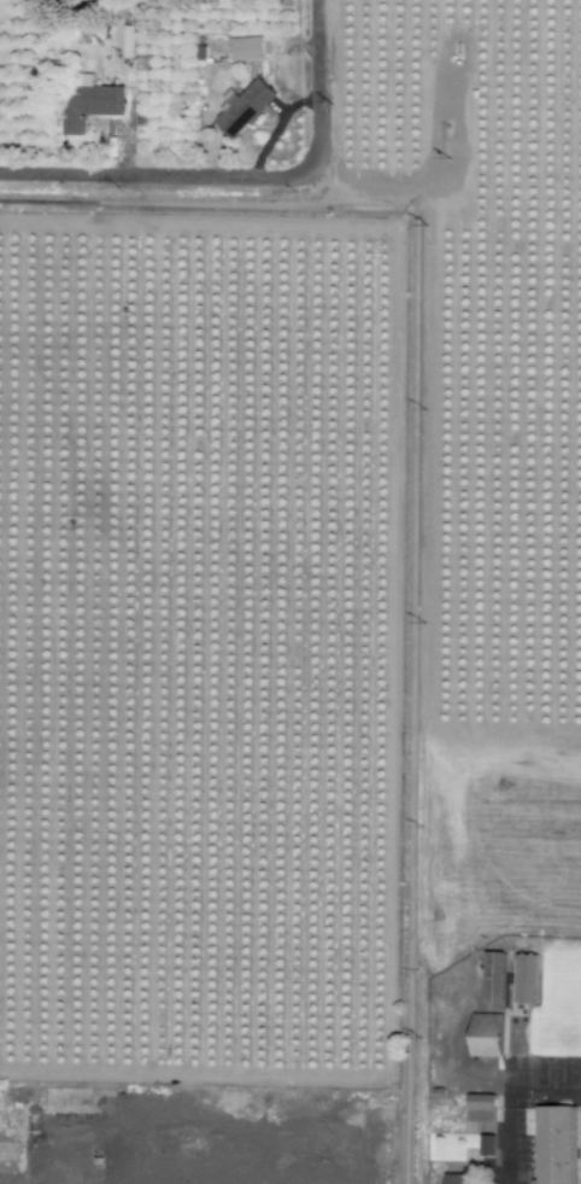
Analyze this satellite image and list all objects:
building: (246, 48)
road: (319, 86)
building: (89, 103)
building: (243, 109)
road: (153, 174)
building: (492, 978)
building: (523, 979)
building: (486, 1034)
building: (480, 1107)
building: (487, 1144)
building: (556, 1144)
building: (460, 1177)

